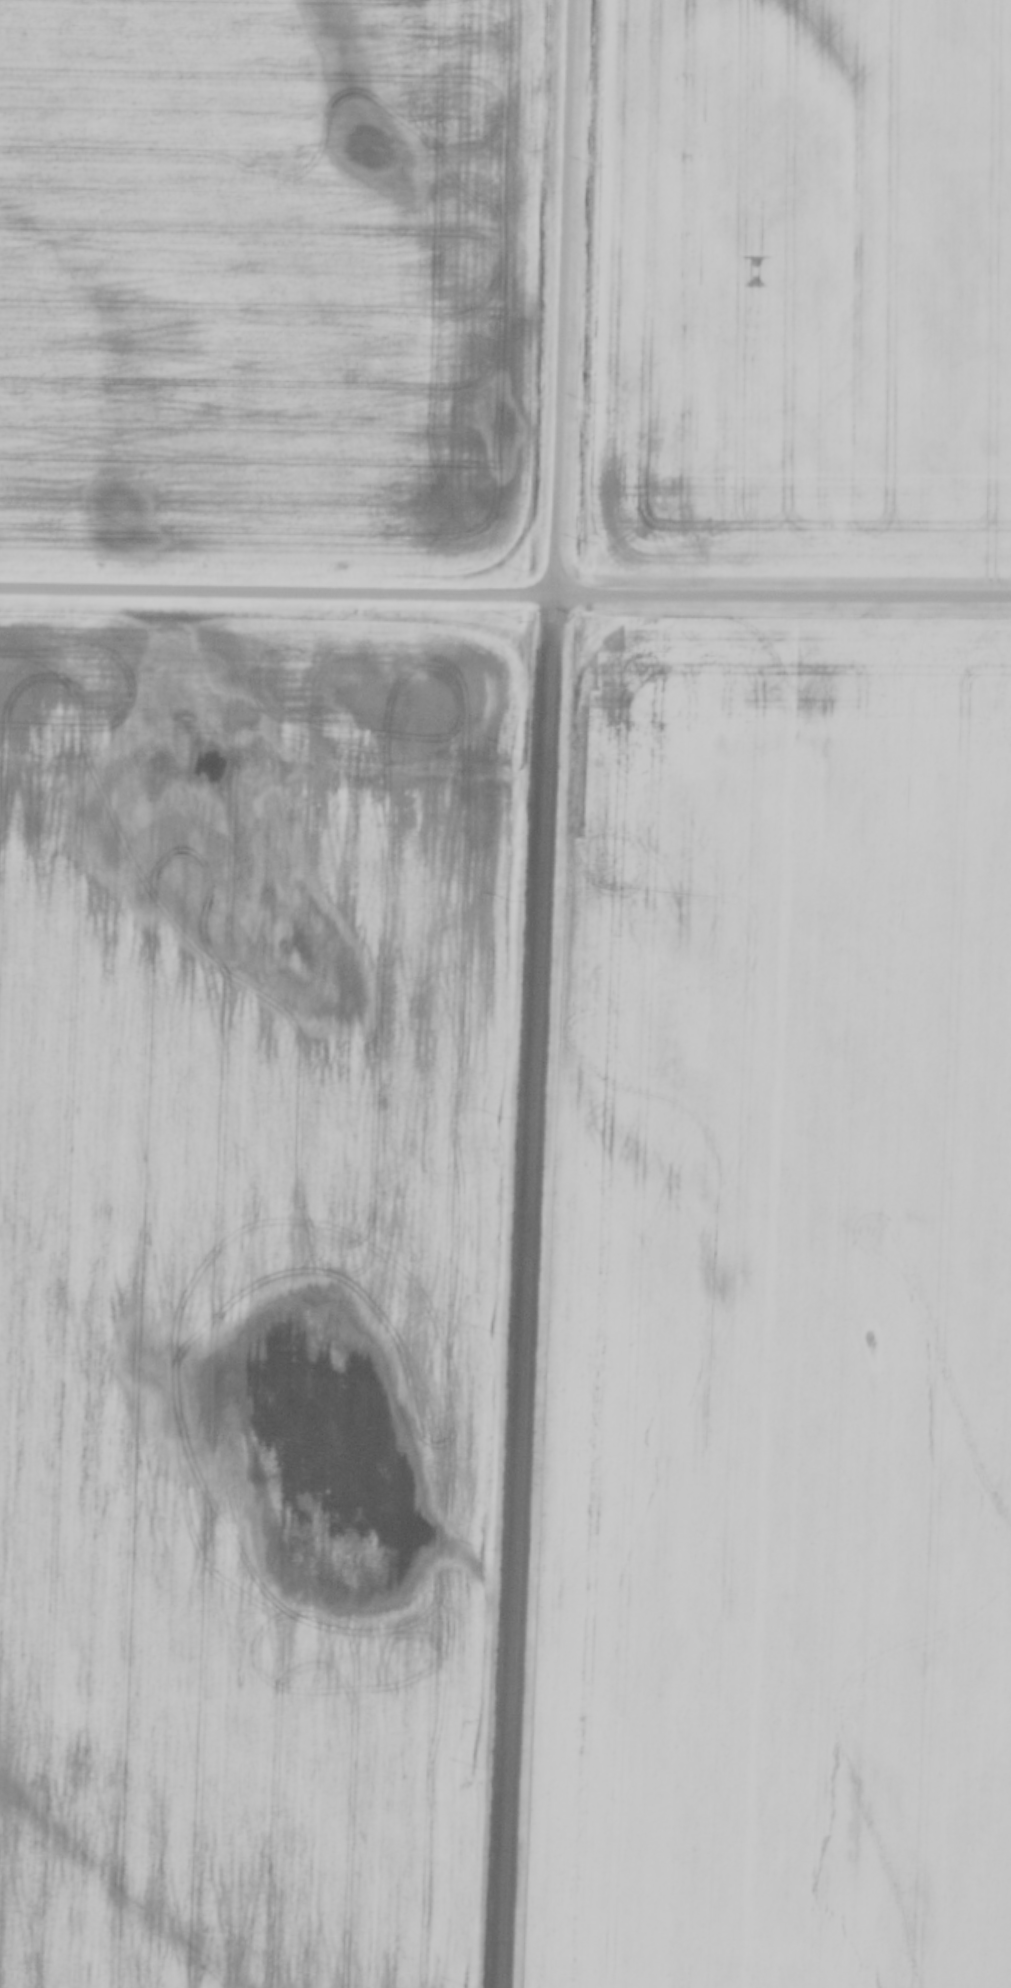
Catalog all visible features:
road: (563, 299)
road: (505, 594)
road: (529, 1293)

